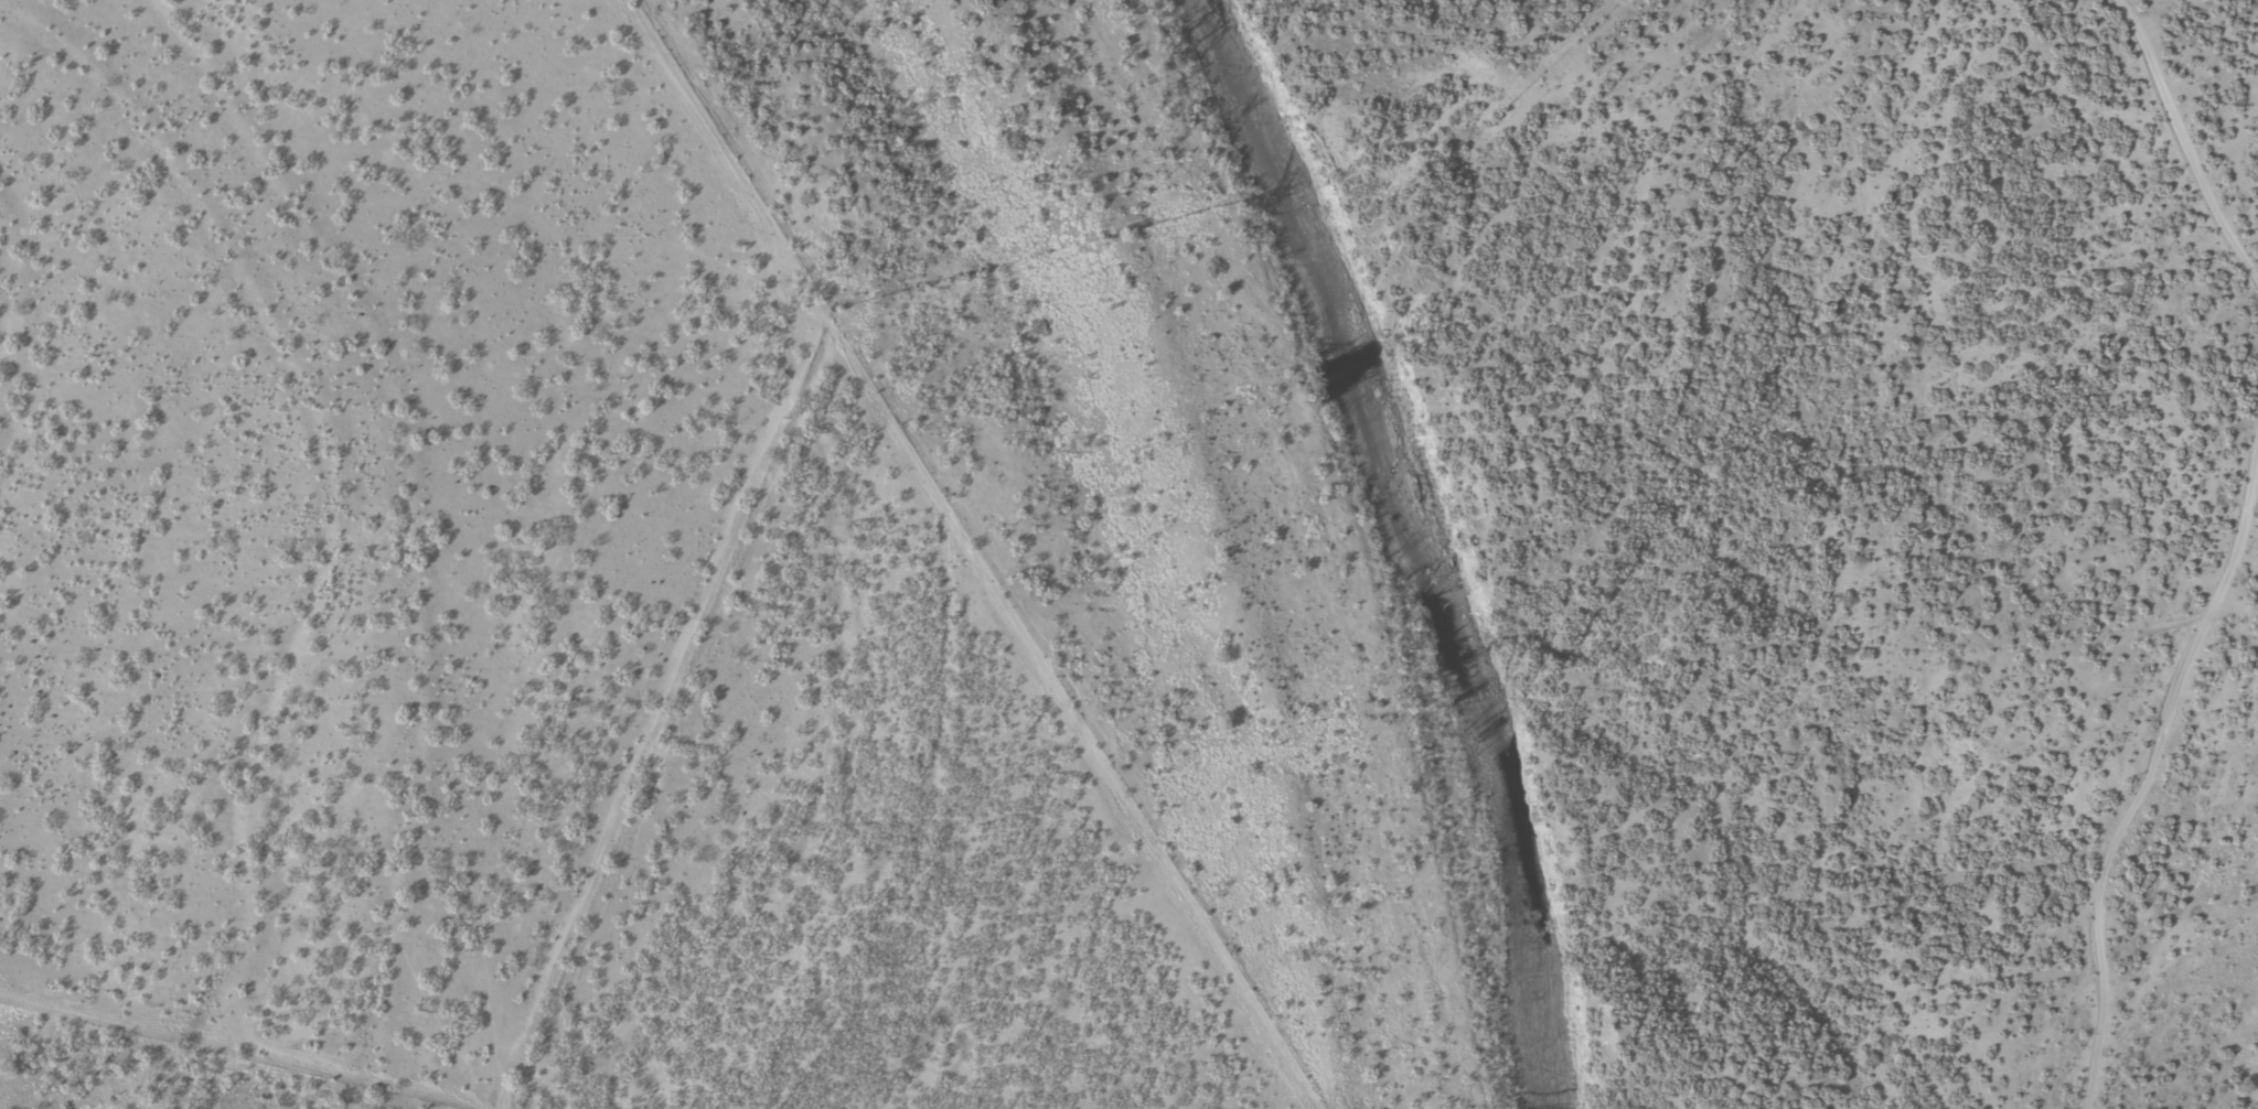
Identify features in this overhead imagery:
river: (1420, 541)
road: (2171, 838)

